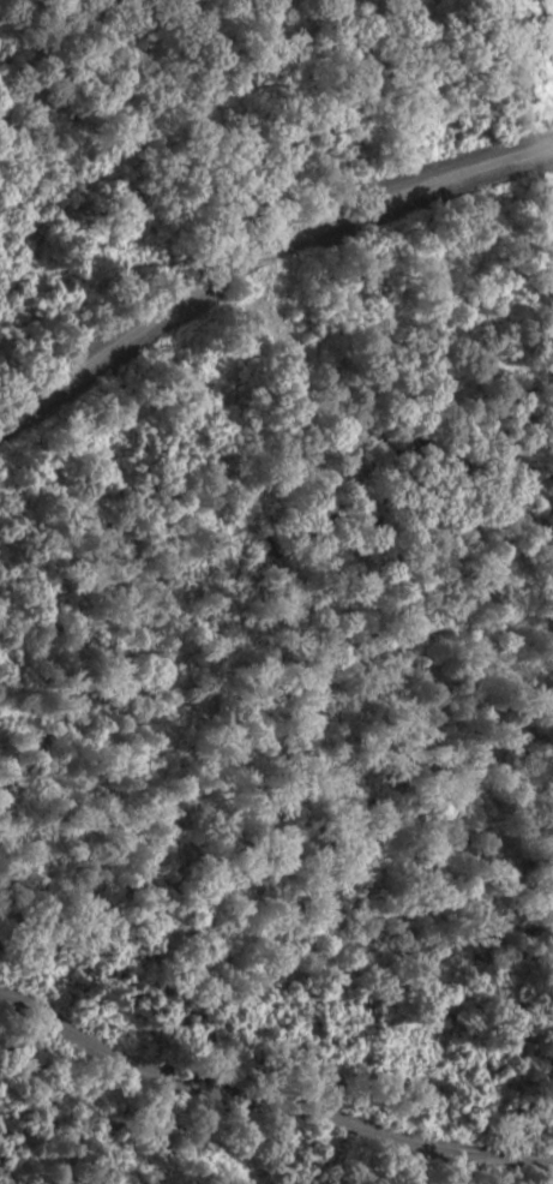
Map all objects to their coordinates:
road: (264, 269)

